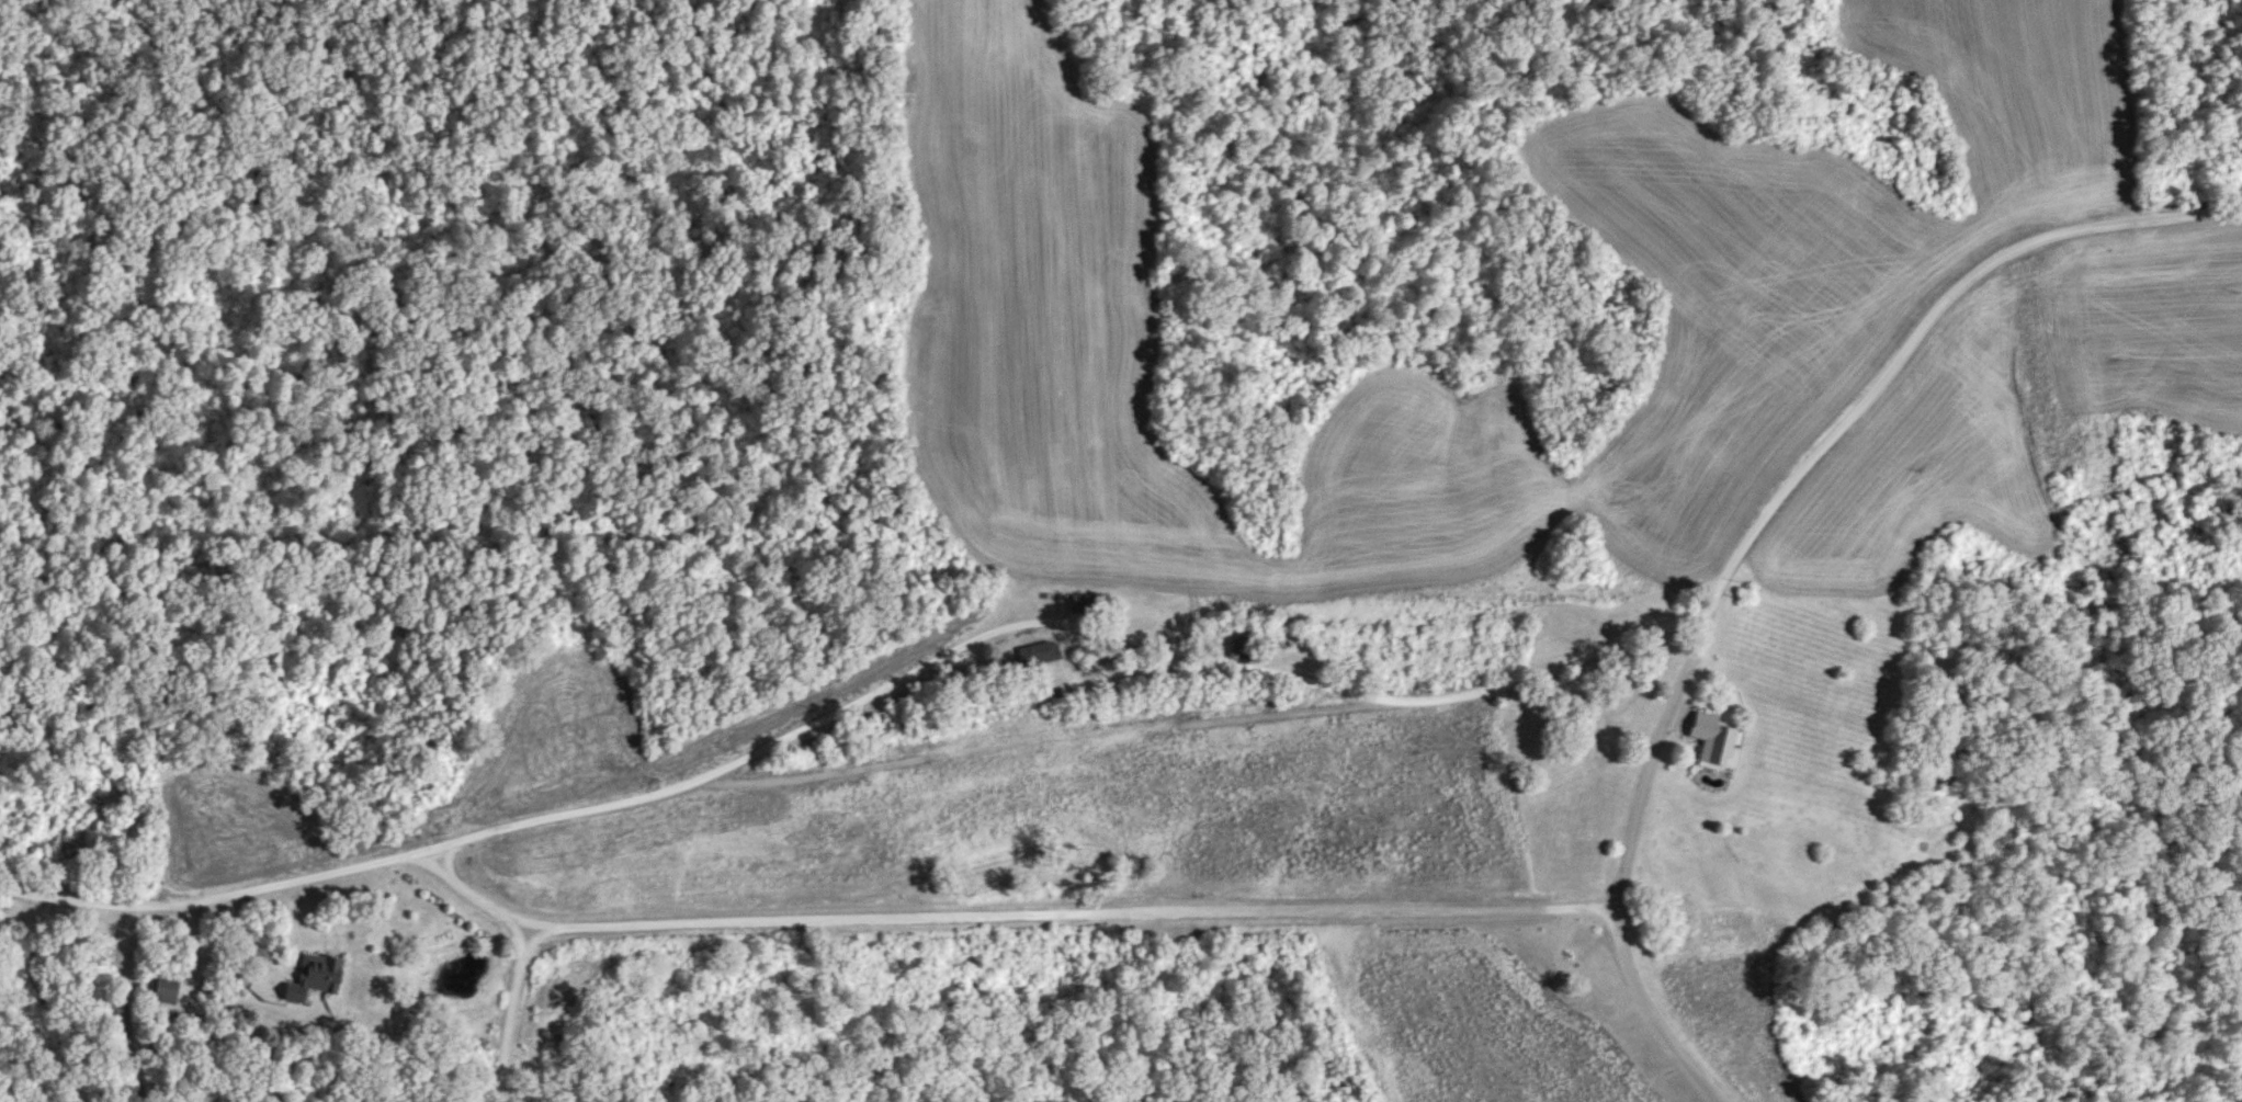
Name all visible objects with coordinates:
building: (1082, 603)
building: (1238, 648)
building: (1037, 654)
road: (1189, 654)
building: (1946, 683)
road: (1040, 732)
building: (1711, 740)
road: (1622, 863)
road: (1004, 911)
road: (193, 933)
building: (309, 977)
building: (162, 990)
road: (510, 1013)

